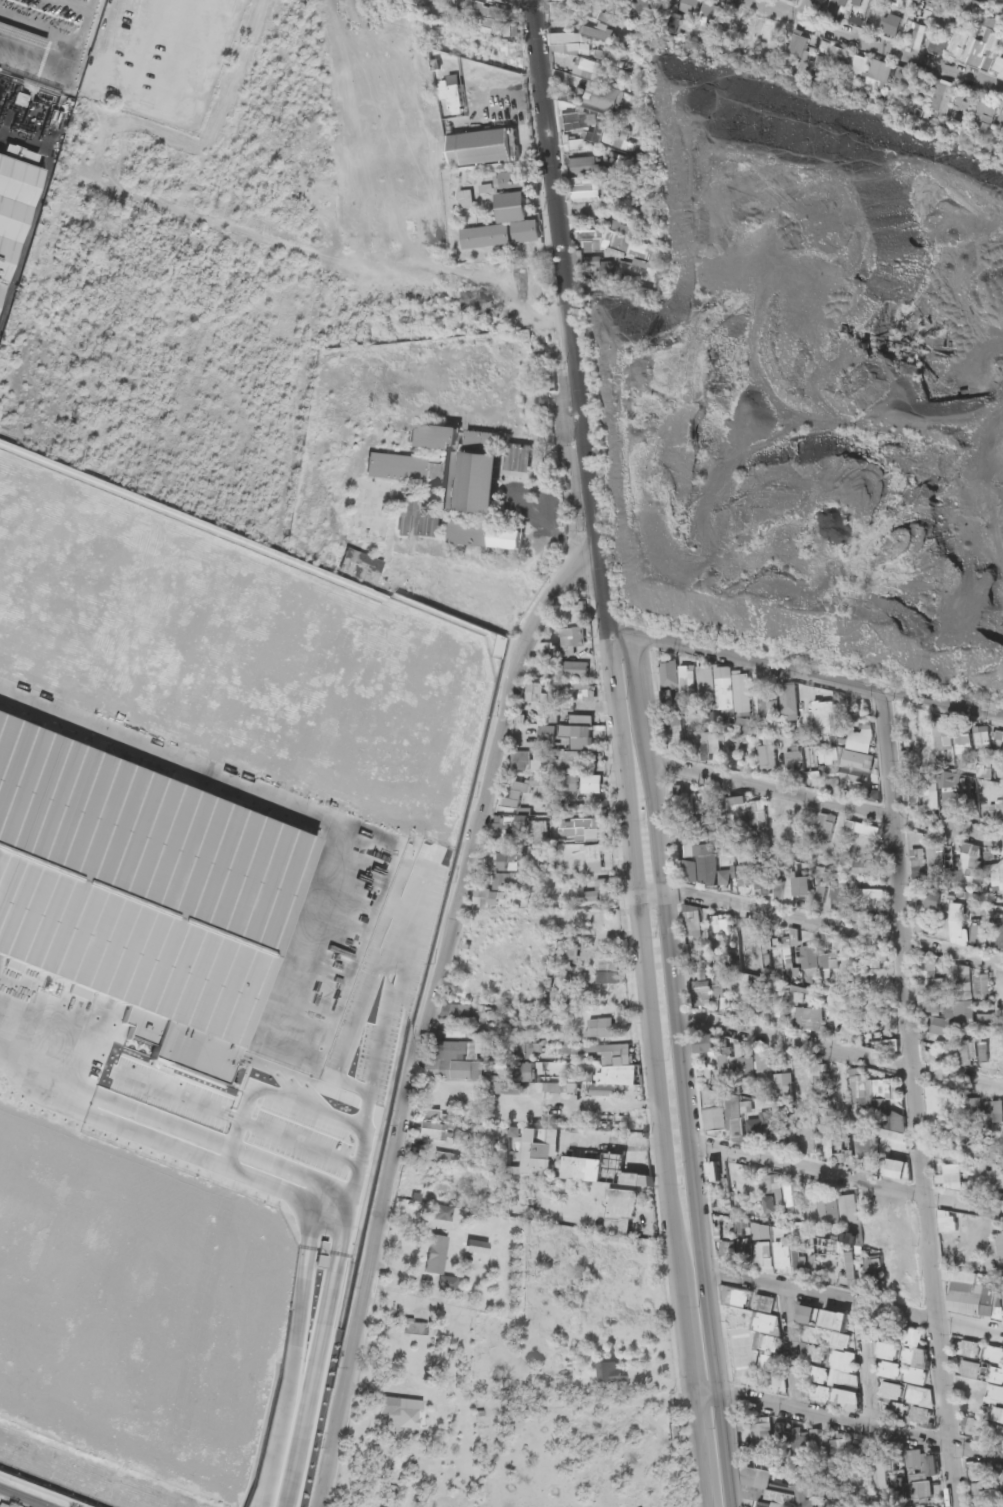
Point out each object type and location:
building: (955, 106)
road: (798, 672)
road: (818, 800)
road: (815, 924)
road: (837, 1050)
road: (845, 1177)
road: (853, 1302)
road: (847, 1422)

